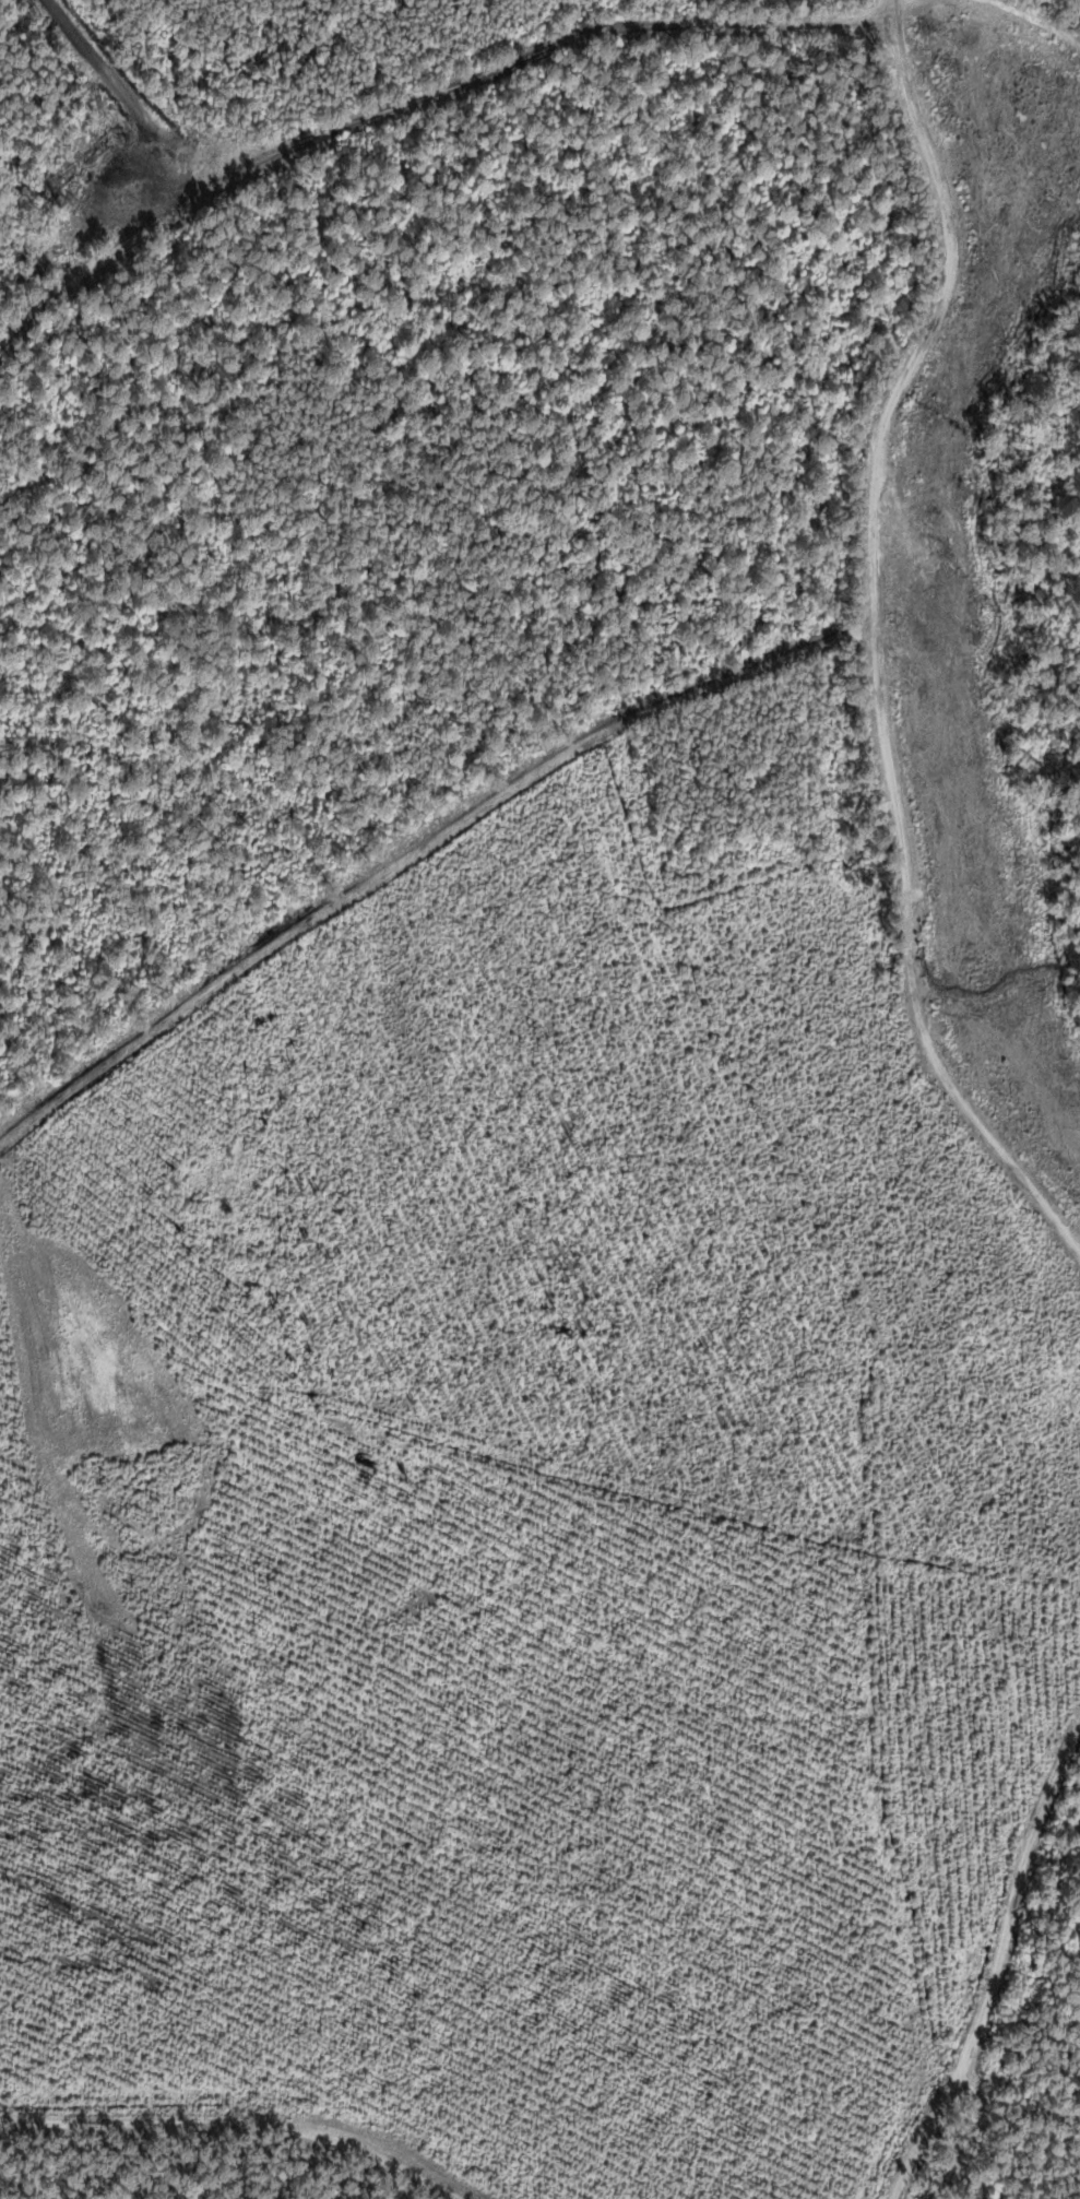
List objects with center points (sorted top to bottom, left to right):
road: (900, 5)
road: (1035, 21)
road: (418, 94)
road: (972, 2065)
road: (265, 2102)

